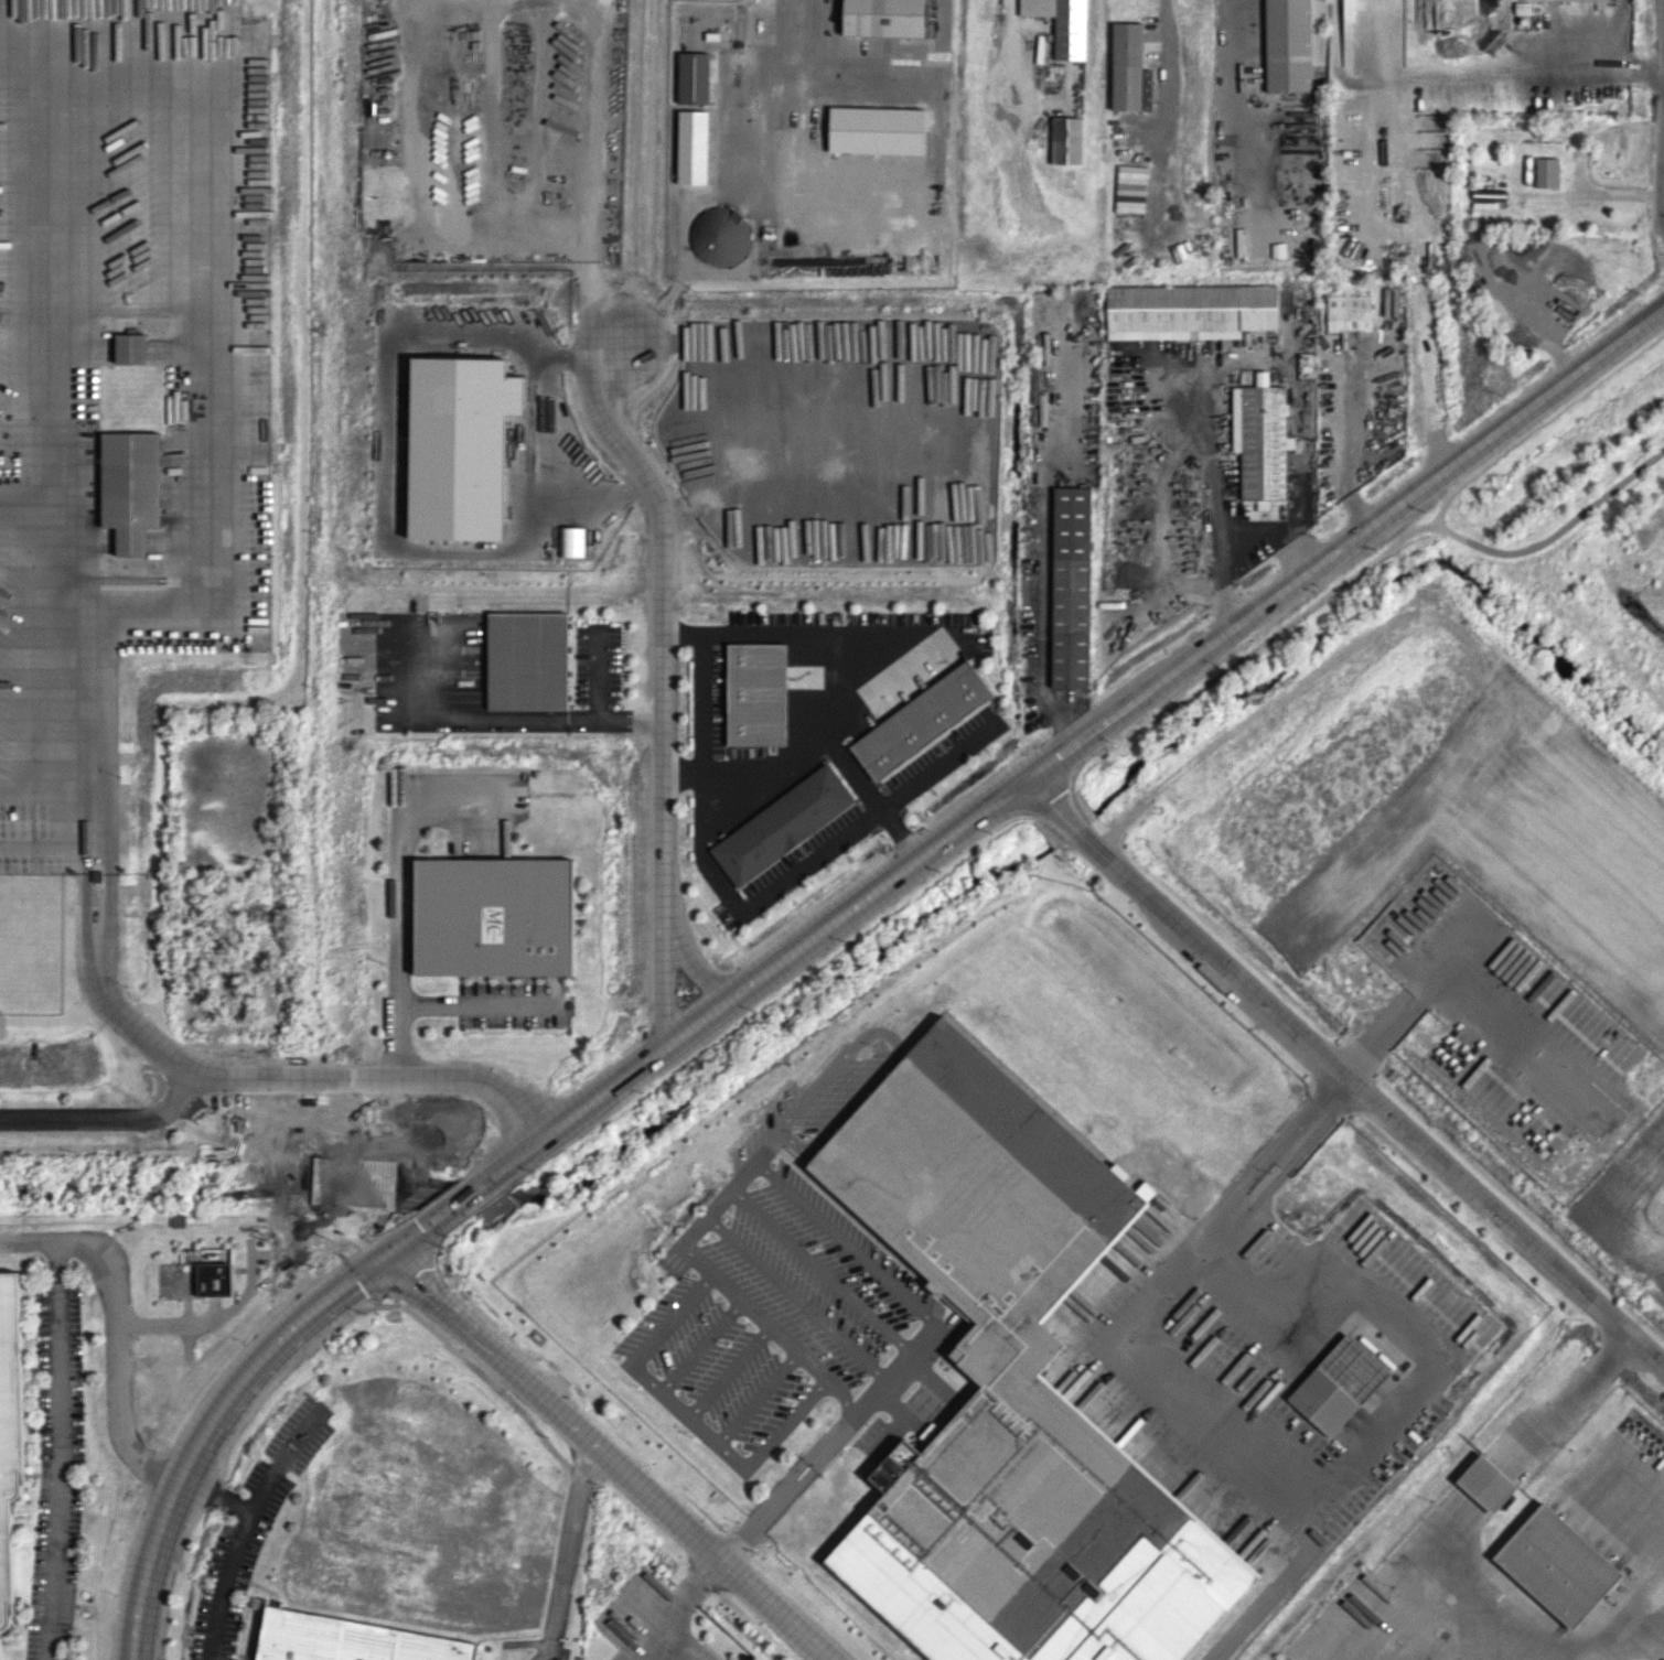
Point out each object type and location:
building: (1604, 0)
building: (887, 18)
building: (1061, 24)
road: (1619, 34)
building: (1288, 45)
road: (1167, 65)
building: (1127, 66)
building: (694, 77)
building: (1066, 140)
road: (1407, 147)
building: (1547, 172)
road: (1663, 185)
building: (719, 235)
building: (1545, 297)
building: (1190, 311)
building: (1349, 312)
building: (130, 348)
road: (549, 356)
road: (581, 359)
building: (1262, 378)
road: (218, 410)
road: (384, 418)
road: (1542, 421)
building: (1260, 440)
building: (461, 445)
road: (1342, 456)
road: (636, 486)
building: (131, 487)
road: (1212, 494)
road: (575, 507)
building: (572, 541)
road: (1395, 541)
road: (516, 542)
building: (1070, 586)
road: (1044, 604)
road: (662, 626)
road: (1195, 650)
building: (528, 660)
road: (595, 676)
road: (701, 685)
building: (756, 693)
road: (545, 718)
building: (921, 720)
road: (814, 747)
road: (50, 788)
building: (783, 824)
road: (50, 845)
road: (100, 873)
road: (398, 894)
building: (494, 916)
road: (836, 938)
road: (698, 969)
road: (1452, 978)
road: (661, 992)
road: (474, 1004)
road: (699, 1023)
road: (161, 1050)
road: (1344, 1074)
road: (363, 1076)
road: (460, 1077)
road: (106, 1111)
road: (576, 1113)
road: (1284, 1135)
road: (1300, 1151)
road: (340, 1172)
road: (333, 1176)
building: (1146, 1189)
road: (458, 1201)
road: (481, 1203)
road: (721, 1204)
road: (128, 1217)
road: (410, 1239)
road: (322, 1249)
road: (331, 1254)
road: (416, 1261)
road: (891, 1284)
road: (374, 1300)
road: (204, 1318)
road: (677, 1321)
road: (771, 1328)
road: (112, 1333)
road: (305, 1345)
road: (702, 1345)
road: (729, 1371)
building: (1338, 1384)
building: (1011, 1392)
road: (755, 1397)
road: (555, 1408)
road: (691, 1418)
road: (785, 1426)
road: (213, 1429)
road: (1244, 1438)
road: (56, 1451)
building: (10, 1463)
building: (1486, 1483)
road: (790, 1486)
road: (221, 1496)
road: (567, 1557)
road: (236, 1561)
building: (1557, 1565)
road: (674, 1609)
road: (776, 1609)
building: (352, 1640)
building: (753, 1659)

